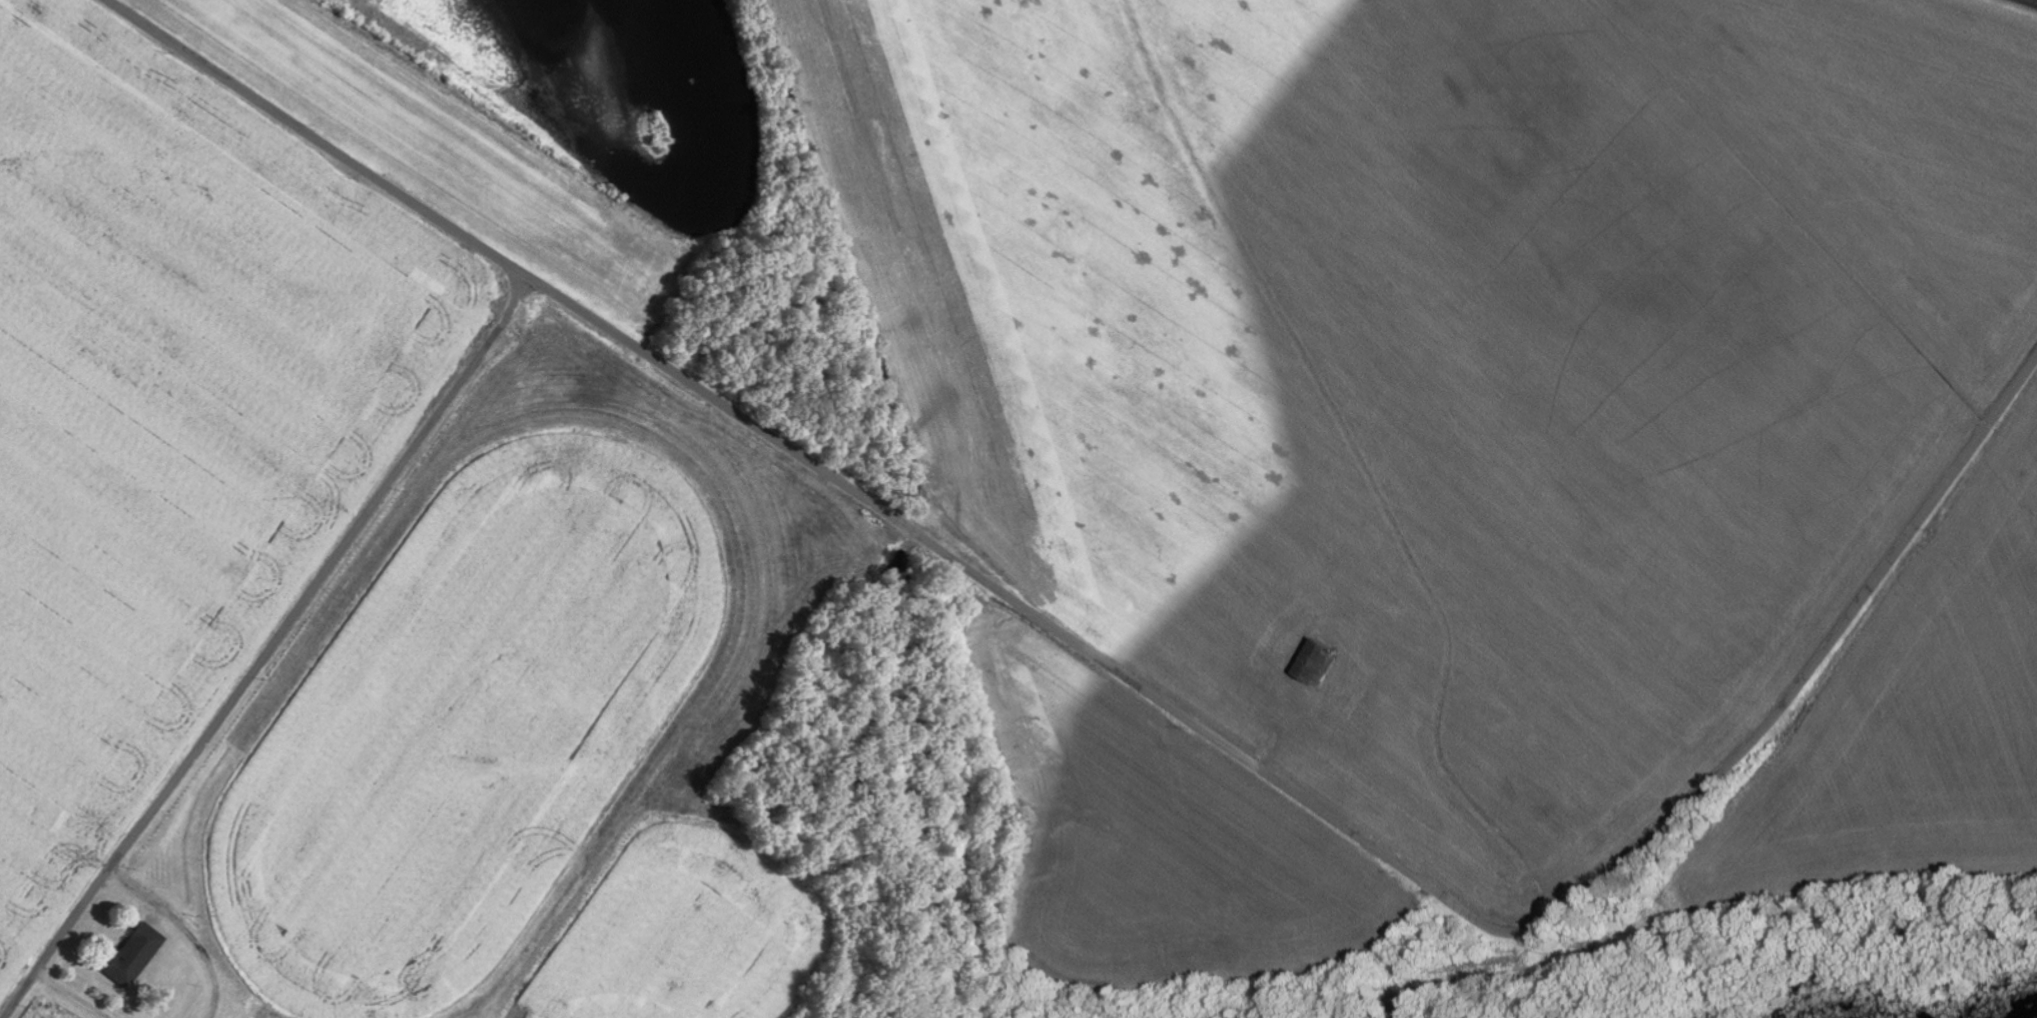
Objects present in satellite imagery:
railway: (2030, 2)
road: (272, 649)
building: (1324, 659)
road: (1135, 685)
road: (191, 929)
building: (137, 955)
road: (1257, 974)
road: (74, 995)

